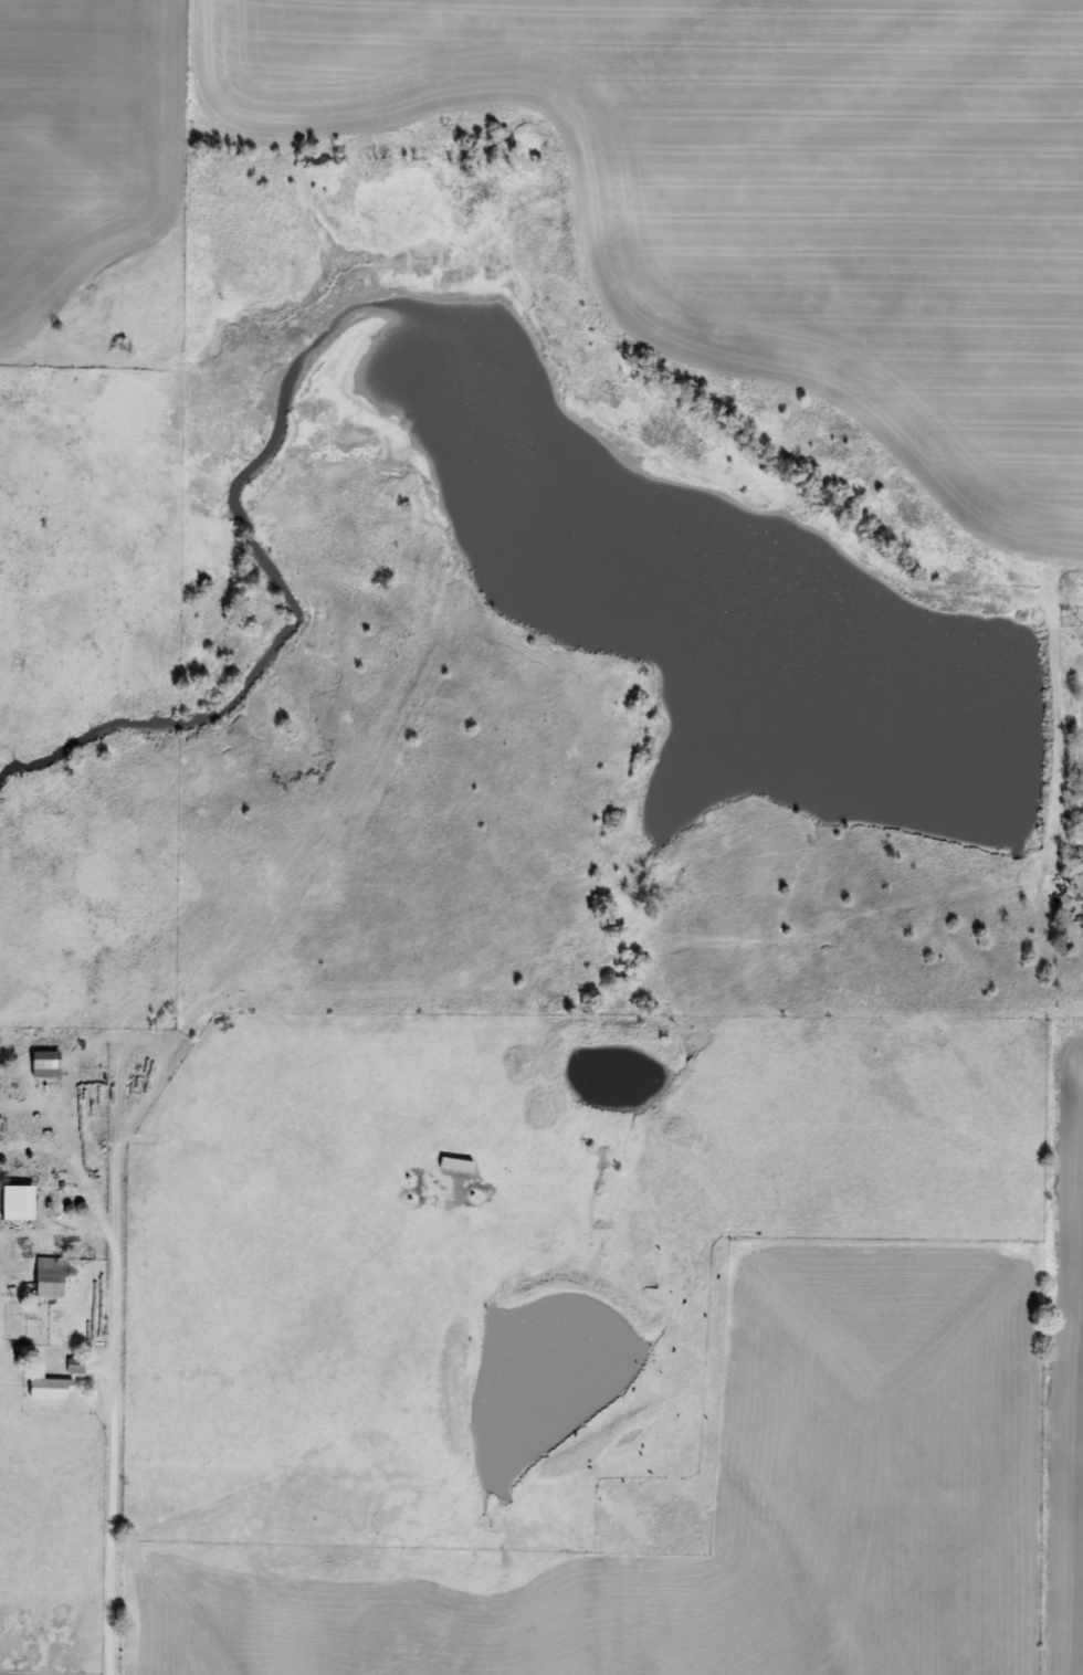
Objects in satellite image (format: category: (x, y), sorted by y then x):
building: (40, 1065)
building: (13, 1203)
building: (44, 1277)
road: (175, 1350)
building: (43, 1388)

